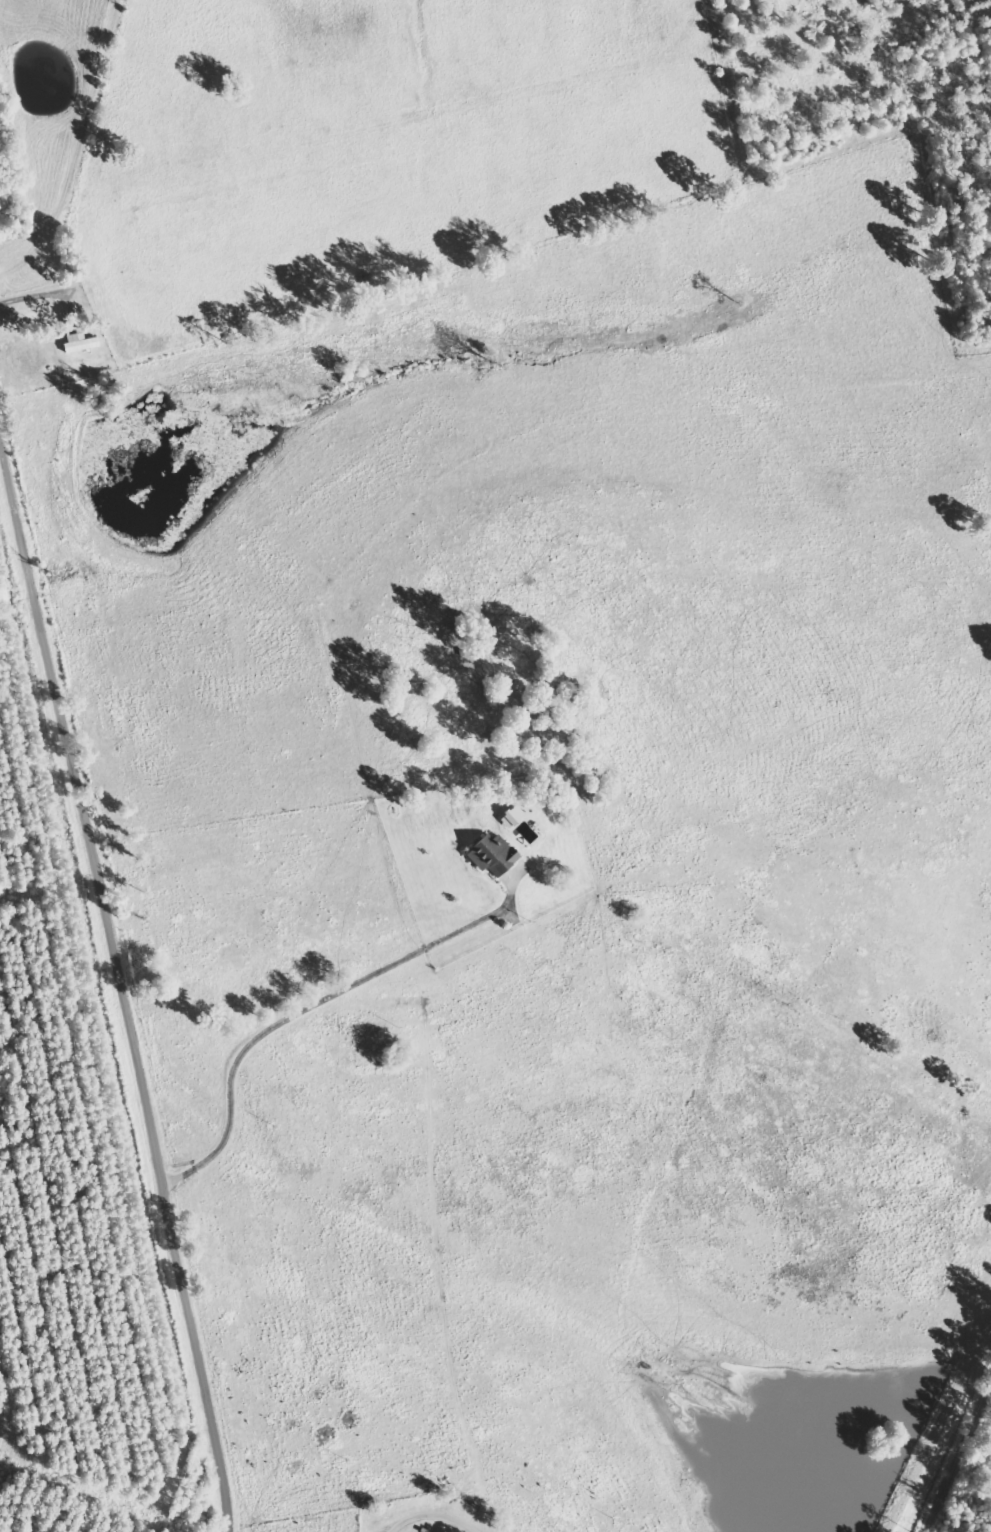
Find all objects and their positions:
road: (183, 355)
building: (516, 814)
building: (494, 855)
road: (312, 1005)
road: (123, 1013)
road: (970, 1485)

